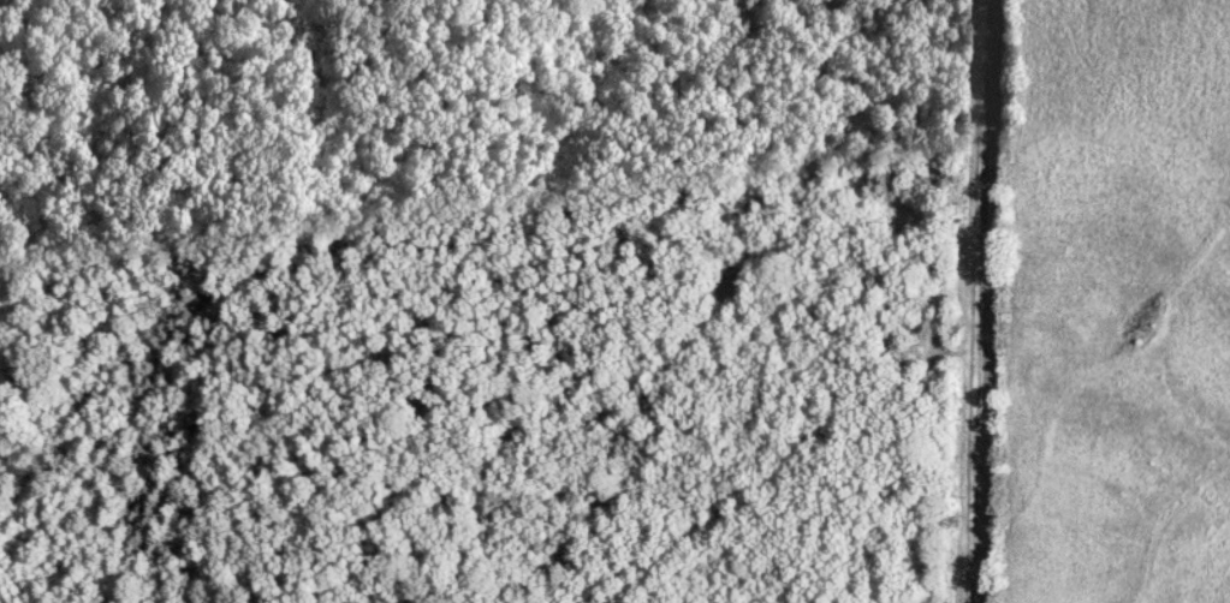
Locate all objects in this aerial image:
road: (990, 301)

